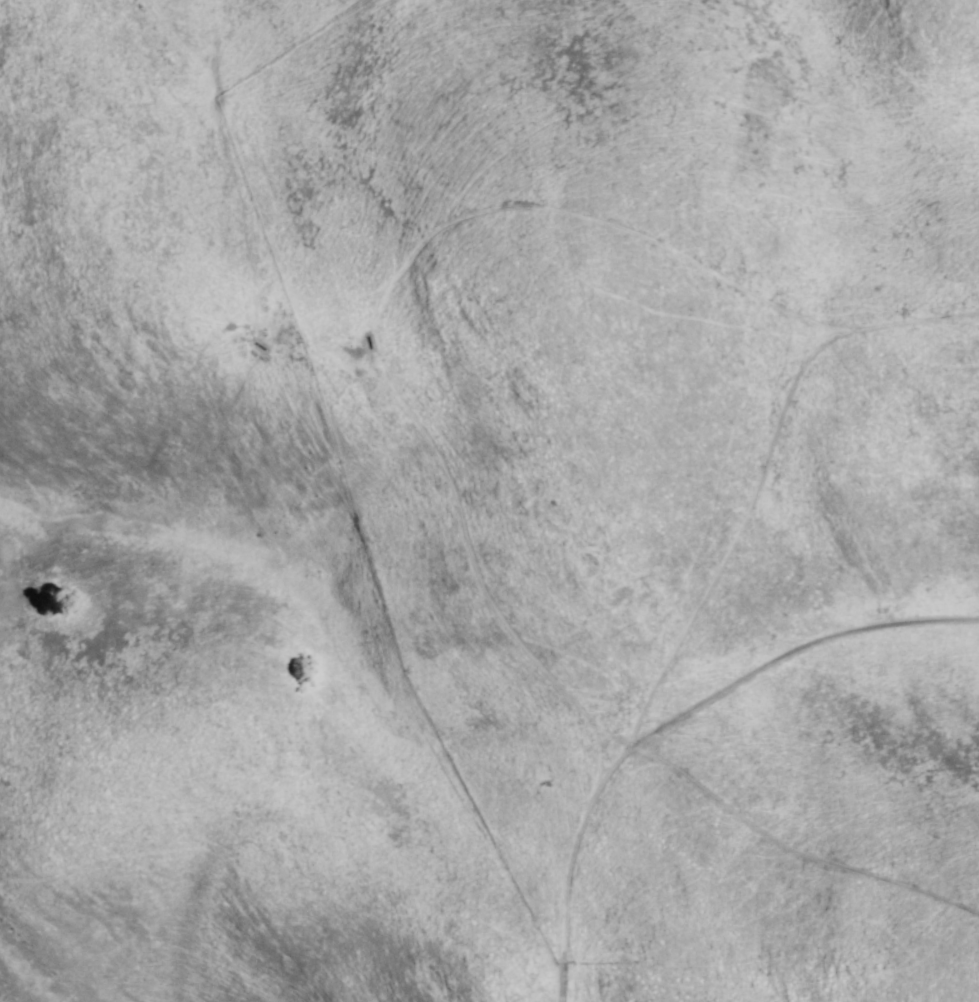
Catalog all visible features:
road: (675, 719)

